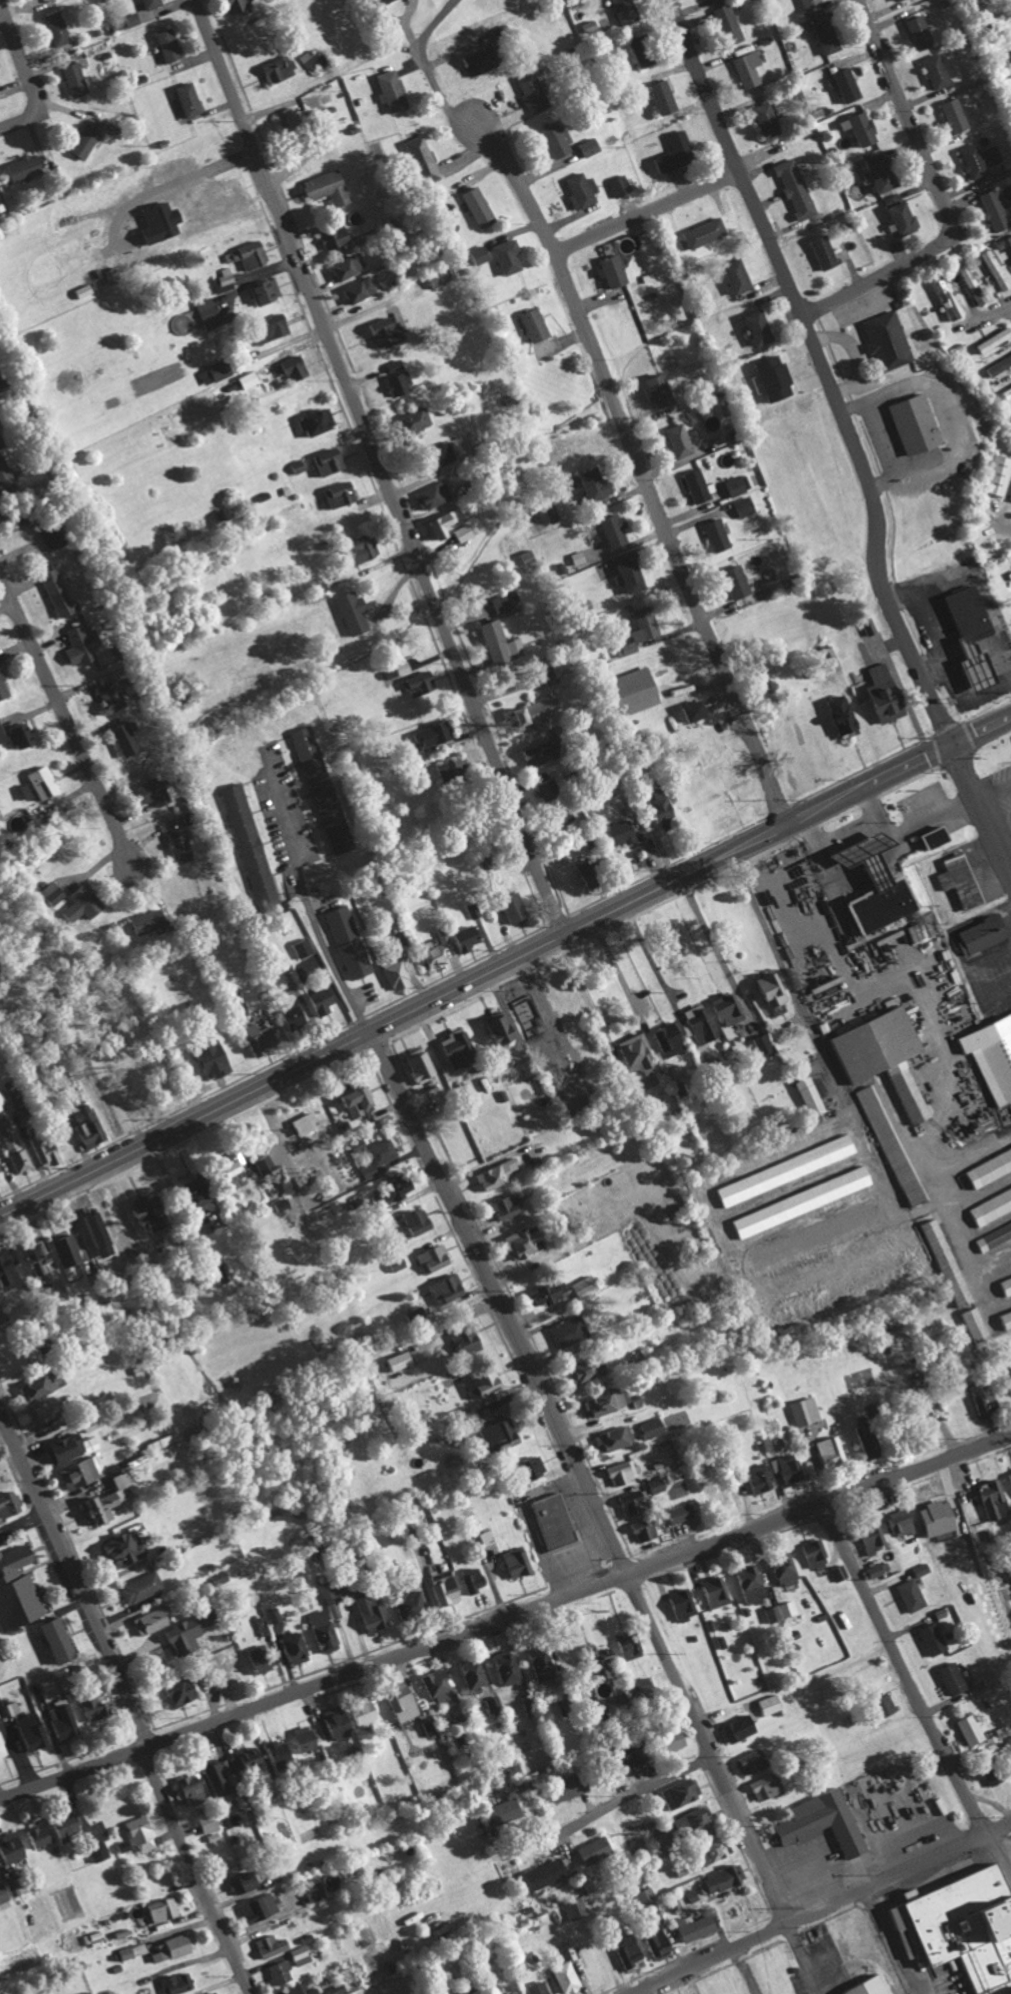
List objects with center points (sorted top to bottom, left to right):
building: (891, 0)
building: (373, 1)
building: (805, 2)
building: (152, 3)
building: (240, 6)
building: (619, 10)
building: (723, 23)
building: (58, 28)
building: (914, 31)
building: (820, 36)
building: (170, 45)
building: (637, 59)
building: (470, 62)
building: (744, 68)
building: (273, 69)
building: (931, 71)
road: (27, 73)
building: (77, 80)
building: (0, 84)
building: (842, 84)
building: (387, 90)
building: (527, 91)
building: (657, 96)
building: (184, 98)
building: (950, 114)
building: (760, 119)
building: (857, 128)
road: (724, 135)
building: (552, 139)
building: (81, 141)
building: (586, 146)
building: (667, 151)
building: (990, 155)
building: (418, 158)
building: (969, 161)
building: (26, 166)
building: (875, 172)
building: (616, 184)
building: (321, 187)
building: (791, 187)
building: (577, 190)
building: (219, 193)
road: (941, 195)
building: (473, 206)
building: (990, 209)
building: (0, 210)
road: (648, 213)
building: (895, 213)
building: (699, 232)
building: (331, 234)
building: (1008, 241)
building: (818, 251)
building: (246, 254)
building: (475, 254)
building: (504, 255)
building: (1010, 260)
building: (342, 267)
building: (991, 269)
building: (607, 270)
building: (437, 275)
building: (730, 275)
building: (224, 276)
building: (647, 277)
building: (969, 283)
building: (355, 289)
building: (260, 290)
road: (790, 294)
building: (941, 297)
building: (204, 313)
building: (529, 324)
building: (753, 327)
building: (266, 329)
building: (378, 332)
building: (882, 340)
building: (989, 340)
building: (288, 368)
building: (211, 372)
building: (394, 377)
building: (768, 377)
building: (5, 380)
building: (652, 390)
building: (1005, 392)
building: (1010, 414)
building: (410, 420)
building: (312, 421)
building: (909, 423)
building: (1, 429)
building: (3, 440)
building: (674, 440)
building: (434, 454)
building: (325, 460)
road: (640, 460)
road: (377, 468)
building: (6, 473)
building: (995, 475)
building: (589, 484)
building: (692, 485)
building: (731, 486)
building: (335, 494)
building: (429, 495)
building: (1009, 495)
building: (740, 507)
building: (548, 513)
building: (441, 521)
building: (608, 529)
road: (876, 531)
building: (462, 532)
building: (712, 534)
building: (56, 537)
building: (356, 548)
building: (525, 556)
road: (972, 573)
building: (625, 575)
building: (732, 581)
building: (61, 593)
building: (502, 601)
road: (6, 604)
building: (348, 611)
building: (639, 624)
building: (866, 625)
building: (962, 632)
building: (494, 642)
building: (84, 645)
building: (622, 649)
road: (930, 665)
road: (946, 670)
building: (4, 684)
building: (413, 684)
building: (631, 691)
building: (877, 695)
building: (113, 697)
building: (686, 710)
building: (534, 714)
building: (835, 714)
building: (512, 719)
road: (69, 728)
building: (2, 729)
road: (980, 730)
building: (428, 733)
building: (23, 736)
building: (128, 738)
building: (530, 755)
building: (446, 768)
building: (47, 782)
building: (540, 784)
building: (323, 790)
building: (28, 791)
building: (157, 791)
building: (656, 808)
road: (869, 808)
road: (960, 812)
road: (979, 812)
building: (559, 815)
road: (881, 827)
building: (615, 833)
building: (928, 837)
building: (250, 842)
building: (182, 846)
building: (859, 856)
building: (954, 881)
building: (54, 892)
building: (84, 904)
building: (875, 906)
building: (507, 907)
road: (311, 910)
building: (151, 921)
building: (908, 934)
building: (975, 934)
building: (462, 937)
building: (349, 942)
building: (303, 947)
building: (428, 954)
building: (401, 974)
road: (474, 979)
building: (765, 989)
building: (323, 1001)
building: (724, 1009)
building: (297, 1011)
building: (695, 1024)
building: (493, 1028)
building: (264, 1038)
building: (664, 1040)
building: (759, 1044)
building: (460, 1048)
building: (632, 1052)
building: (989, 1055)
building: (876, 1056)
building: (217, 1060)
building: (421, 1065)
building: (17, 1096)
building: (805, 1096)
building: (360, 1101)
building: (308, 1124)
building: (90, 1127)
building: (14, 1145)
building: (360, 1145)
building: (886, 1145)
building: (46, 1149)
building: (381, 1157)
building: (265, 1164)
building: (986, 1167)
building: (0, 1170)
building: (500, 1174)
building: (403, 1188)
building: (509, 1206)
building: (988, 1206)
building: (154, 1211)
building: (702, 1216)
building: (419, 1221)
building: (992, 1237)
building: (526, 1242)
building: (69, 1252)
building: (434, 1258)
building: (39, 1259)
building: (940, 1260)
building: (8, 1269)
building: (1003, 1285)
building: (578, 1286)
building: (448, 1289)
building: (537, 1294)
building: (417, 1312)
building: (5, 1318)
building: (1003, 1320)
building: (971, 1324)
building: (562, 1330)
building: (468, 1339)
building: (402, 1360)
building: (581, 1368)
building: (477, 1382)
building: (1007, 1384)
building: (38, 1388)
building: (977, 1396)
building: (600, 1401)
building: (48, 1410)
building: (799, 1410)
building: (920, 1419)
building: (646, 1427)
building: (494, 1434)
building: (608, 1437)
building: (859, 1440)
building: (70, 1447)
building: (824, 1448)
building: (0, 1451)
building: (525, 1466)
building: (783, 1468)
building: (81, 1473)
building: (616, 1473)
road: (583, 1475)
building: (754, 1478)
building: (1008, 1478)
building: (651, 1485)
building: (709, 1490)
building: (988, 1499)
building: (107, 1503)
building: (625, 1503)
building: (8, 1507)
building: (676, 1512)
building: (931, 1518)
road: (24, 1520)
building: (549, 1522)
building: (897, 1522)
building: (643, 1529)
building: (867, 1536)
building: (475, 1540)
building: (128, 1548)
building: (810, 1554)
building: (511, 1562)
building: (778, 1567)
building: (874, 1568)
building: (918, 1569)
building: (835, 1571)
road: (78, 1572)
building: (467, 1579)
building: (746, 1583)
building: (142, 1587)
building: (439, 1587)
building: (19, 1589)
building: (712, 1591)
building: (906, 1594)
building: (404, 1600)
building: (677, 1603)
building: (783, 1608)
building: (365, 1610)
building: (768, 1613)
road: (505, 1614)
building: (154, 1620)
building: (318, 1630)
building: (192, 1632)
building: (928, 1638)
building: (60, 1640)
building: (289, 1647)
building: (626, 1648)
building: (255, 1657)
building: (593, 1659)
building: (537, 1665)
building: (503, 1669)
building: (468, 1674)
building: (947, 1678)
road: (912, 1683)
building: (432, 1684)
building: (183, 1691)
building: (396, 1701)
building: (92, 1702)
building: (878, 1703)
building: (766, 1704)
building: (12, 1709)
building: (358, 1711)
building: (66, 1721)
building: (333, 1724)
building: (734, 1727)
building: (966, 1729)
building: (35, 1731)
building: (298, 1738)
building: (664, 1739)
building: (3, 1748)
building: (277, 1754)
building: (617, 1758)
building: (249, 1761)
building: (745, 1762)
building: (215, 1774)
building: (762, 1786)
building: (565, 1787)
building: (193, 1789)
building: (676, 1792)
road: (610, 1805)
building: (488, 1813)
building: (687, 1820)
building: (208, 1821)
building: (816, 1822)
building: (69, 1826)
building: (143, 1833)
building: (41, 1836)
building: (13, 1848)
building: (589, 1849)
building: (707, 1850)
road: (196, 1869)
building: (540, 1874)
road: (900, 1874)
building: (719, 1878)
building: (246, 1882)
building: (12, 1889)
building: (317, 1891)
building: (643, 1896)
building: (261, 1908)
building: (573, 1908)
building: (165, 1909)
building: (960, 1926)
building: (691, 1927)
building: (651, 1935)
building: (273, 1945)
building: (178, 1946)
building: (625, 1951)
building: (127, 1952)
building: (301, 1955)
road: (713, 1957)
road: (804, 1958)
road: (745, 1971)
building: (282, 1972)
building: (562, 1977)
building: (179, 1982)
railway: (927, 1985)
building: (861, 1986)
building: (298, 1988)
building: (534, 1988)
building: (87, 1992)
building: (215, 1992)
building: (514, 1993)

